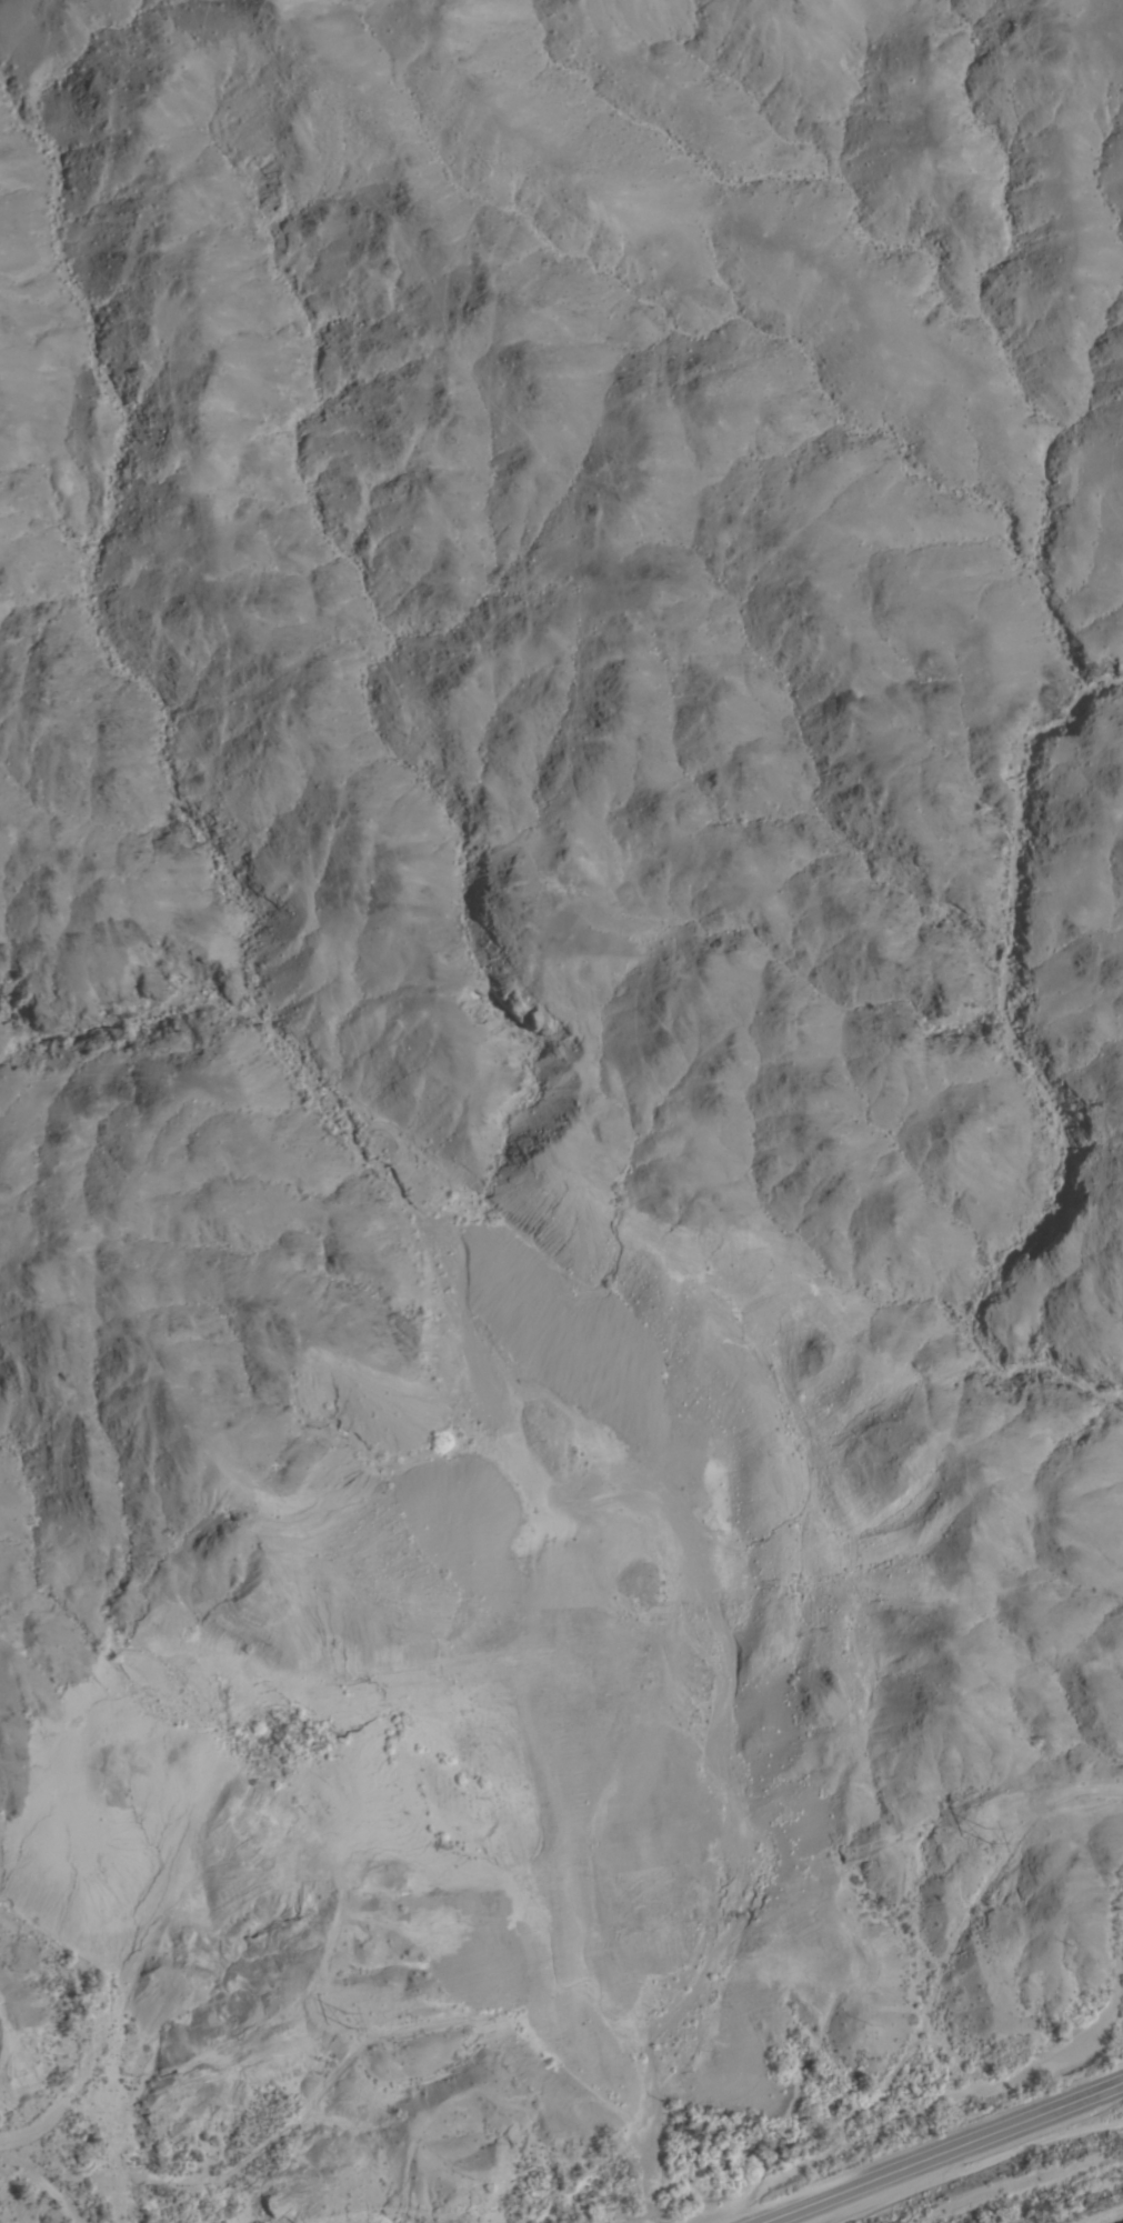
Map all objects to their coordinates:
power tower: (986, 1834)
power tower: (351, 2019)
road: (950, 2155)

